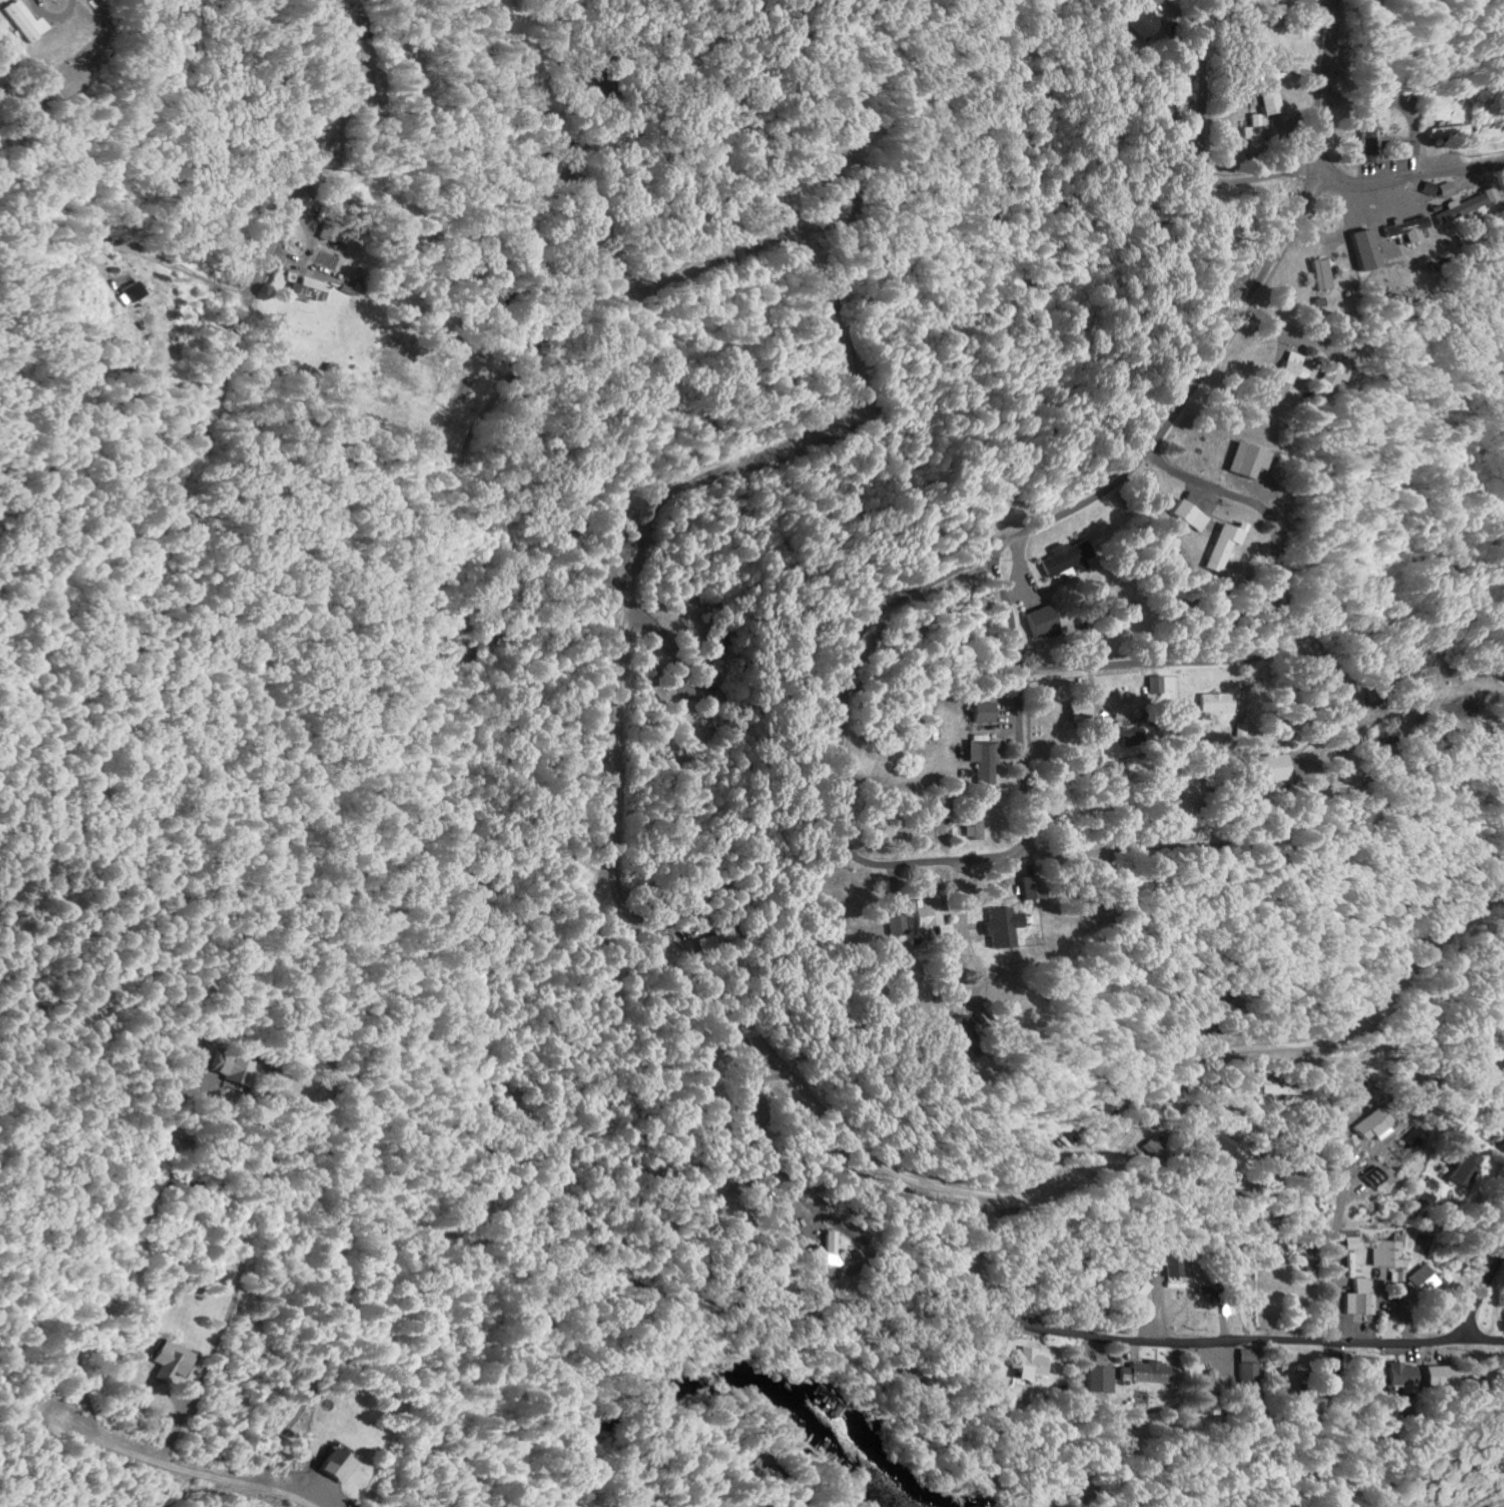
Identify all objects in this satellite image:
building: (20, 20)
building: (1143, 22)
road: (506, 26)
road: (1207, 101)
building: (1272, 103)
road: (337, 123)
building: (1255, 129)
building: (1368, 129)
building: (1443, 131)
building: (1394, 148)
road: (1333, 174)
building: (1446, 188)
building: (1467, 205)
building: (1407, 228)
building: (335, 234)
road: (1332, 237)
road: (970, 248)
building: (1363, 249)
building: (1323, 274)
building: (312, 289)
building: (130, 291)
building: (1292, 368)
road: (668, 373)
building: (1333, 375)
road: (792, 418)
building: (1246, 460)
road: (1212, 483)
road: (1064, 511)
building: (1188, 515)
road: (1273, 530)
building: (1222, 545)
building: (1063, 557)
road: (1277, 590)
building: (1041, 620)
road: (1154, 666)
road: (1323, 675)
building: (1413, 681)
road: (1021, 684)
building: (1156, 685)
road: (1428, 700)
building: (1217, 702)
building: (1079, 711)
building: (982, 712)
road: (1353, 731)
building: (1121, 733)
building: (983, 758)
building: (1271, 768)
building: (939, 807)
road: (1213, 813)
building: (975, 821)
road: (1020, 844)
road: (1119, 853)
building: (1027, 888)
road: (967, 891)
building: (935, 919)
building: (901, 925)
building: (1002, 926)
road: (975, 962)
road: (958, 966)
road: (794, 994)
building: (965, 1025)
road: (1192, 1061)
building: (235, 1069)
building: (1284, 1087)
building: (1373, 1125)
building: (1413, 1138)
building: (1222, 1146)
building: (1462, 1166)
building: (1377, 1177)
building: (1426, 1199)
building: (1356, 1243)
building: (831, 1244)
building: (844, 1255)
building: (1391, 1259)
building: (1173, 1264)
building: (1314, 1268)
building: (1423, 1283)
building: (1138, 1286)
road: (1484, 1296)
building: (1363, 1298)
road: (1483, 1335)
road: (1233, 1336)
building: (1001, 1352)
building: (165, 1361)
building: (1031, 1364)
building: (1146, 1373)
building: (1249, 1373)
building: (1438, 1376)
building: (1403, 1377)
building: (1101, 1380)
building: (1214, 1383)
building: (1304, 1409)
road: (191, 1466)
building: (329, 1467)

